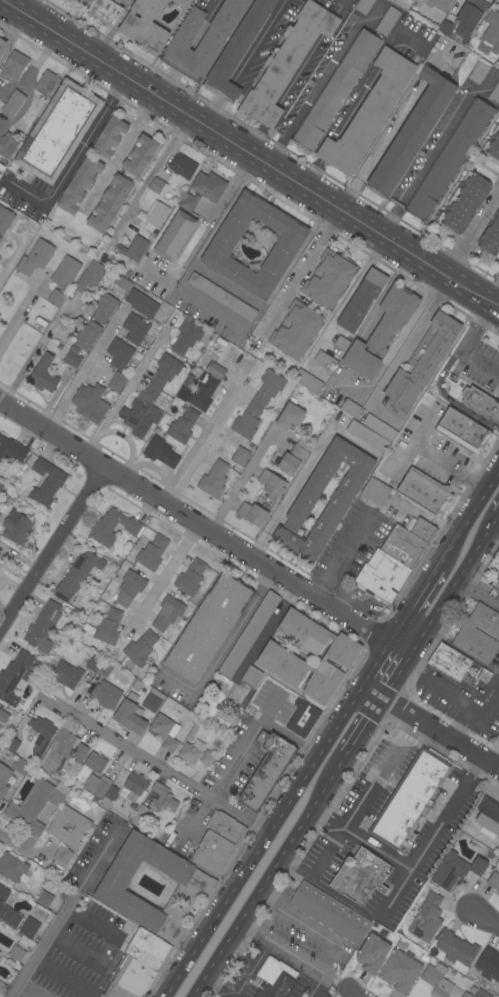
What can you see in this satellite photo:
building: (118, 1)
building: (182, 2)
road: (15, 3)
building: (438, 4)
building: (363, 5)
building: (100, 9)
building: (467, 19)
building: (387, 20)
building: (143, 25)
building: (445, 28)
building: (490, 33)
building: (201, 38)
road: (255, 41)
building: (2, 43)
building: (236, 50)
building: (287, 62)
building: (13, 65)
building: (478, 71)
road: (322, 78)
building: (46, 83)
road: (224, 90)
building: (335, 90)
building: (495, 94)
building: (12, 103)
road: (212, 112)
building: (368, 112)
building: (58, 131)
building: (411, 132)
building: (109, 137)
building: (8, 144)
building: (493, 144)
road: (381, 148)
road: (119, 153)
building: (139, 155)
road: (249, 155)
road: (73, 156)
building: (449, 159)
road: (425, 164)
building: (182, 166)
building: (79, 185)
building: (157, 186)
building: (208, 186)
building: (188, 201)
building: (464, 202)
building: (109, 203)
building: (157, 214)
road: (220, 218)
building: (5, 219)
road: (469, 230)
building: (174, 235)
building: (490, 237)
building: (0, 238)
building: (286, 245)
building: (136, 249)
road: (14, 252)
building: (35, 257)
road: (299, 270)
building: (65, 271)
building: (89, 275)
building: (328, 279)
building: (121, 282)
building: (221, 296)
building: (55, 298)
road: (494, 298)
building: (361, 299)
building: (142, 302)
road: (211, 305)
building: (104, 307)
road: (498, 310)
road: (20, 312)
building: (134, 328)
building: (295, 330)
building: (381, 331)
building: (86, 335)
building: (187, 336)
building: (341, 343)
road: (409, 343)
road: (463, 346)
road: (36, 348)
building: (119, 353)
building: (70, 356)
building: (325, 360)
building: (420, 365)
road: (83, 369)
building: (215, 371)
building: (42, 375)
building: (117, 381)
building: (307, 381)
road: (126, 388)
building: (182, 392)
building: (202, 393)
road: (446, 396)
building: (150, 397)
building: (90, 402)
building: (258, 403)
building: (481, 403)
building: (350, 408)
building: (289, 416)
road: (385, 416)
building: (182, 425)
building: (379, 427)
building: (462, 431)
building: (367, 436)
road: (128, 443)
road: (413, 444)
road: (205, 446)
building: (11, 450)
building: (160, 452)
building: (239, 456)
building: (293, 457)
road: (449, 465)
road: (305, 471)
building: (213, 479)
building: (46, 481)
road: (241, 481)
building: (271, 482)
building: (1, 485)
building: (345, 491)
building: (375, 491)
building: (424, 491)
building: (262, 504)
road: (469, 512)
building: (252, 513)
building: (112, 526)
building: (16, 527)
building: (423, 529)
road: (496, 530)
road: (206, 531)
road: (53, 552)
building: (152, 552)
road: (341, 555)
building: (391, 563)
building: (493, 567)
building: (76, 577)
building: (190, 577)
road: (159, 578)
building: (496, 584)
building: (129, 588)
road: (455, 590)
road: (480, 593)
building: (494, 593)
road: (340, 595)
road: (414, 602)
building: (167, 612)
building: (108, 626)
building: (42, 627)
building: (207, 628)
building: (479, 633)
building: (248, 634)
building: (139, 648)
building: (278, 658)
building: (93, 662)
building: (450, 662)
road: (374, 664)
building: (105, 667)
road: (402, 673)
building: (15, 675)
building: (66, 675)
building: (484, 675)
building: (251, 676)
building: (276, 692)
building: (105, 695)
road: (458, 695)
building: (152, 700)
building: (130, 714)
building: (3, 716)
building: (302, 719)
road: (371, 721)
road: (429, 726)
building: (162, 727)
building: (40, 733)
building: (11, 744)
building: (169, 744)
building: (191, 751)
building: (62, 754)
road: (237, 755)
building: (206, 758)
building: (94, 762)
road: (155, 764)
building: (20, 766)
building: (266, 769)
building: (3, 779)
building: (130, 785)
building: (101, 789)
building: (161, 797)
road: (363, 797)
building: (408, 798)
building: (35, 804)
building: (115, 810)
building: (127, 813)
building: (140, 815)
building: (488, 816)
building: (81, 826)
building: (225, 826)
road: (261, 840)
road: (363, 841)
road: (20, 851)
building: (212, 851)
building: (62, 855)
building: (12, 868)
building: (454, 869)
road: (274, 876)
building: (359, 876)
building: (494, 880)
road: (402, 885)
building: (195, 886)
building: (497, 893)
building: (44, 899)
building: (7, 910)
road: (62, 912)
building: (329, 912)
building: (426, 918)
road: (482, 918)
building: (29, 927)
road: (256, 932)
road: (332, 945)
building: (455, 947)
building: (147, 949)
building: (371, 952)
building: (15, 953)
building: (409, 953)
building: (424, 958)
building: (488, 964)
building: (399, 970)
building: (132, 975)
building: (436, 980)
road: (243, 981)
building: (480, 982)
building: (275, 984)
building: (3, 988)
building: (471, 989)
building: (116, 991)
road: (354, 992)
building: (481, 993)
building: (466, 994)
road: (15, 995)

